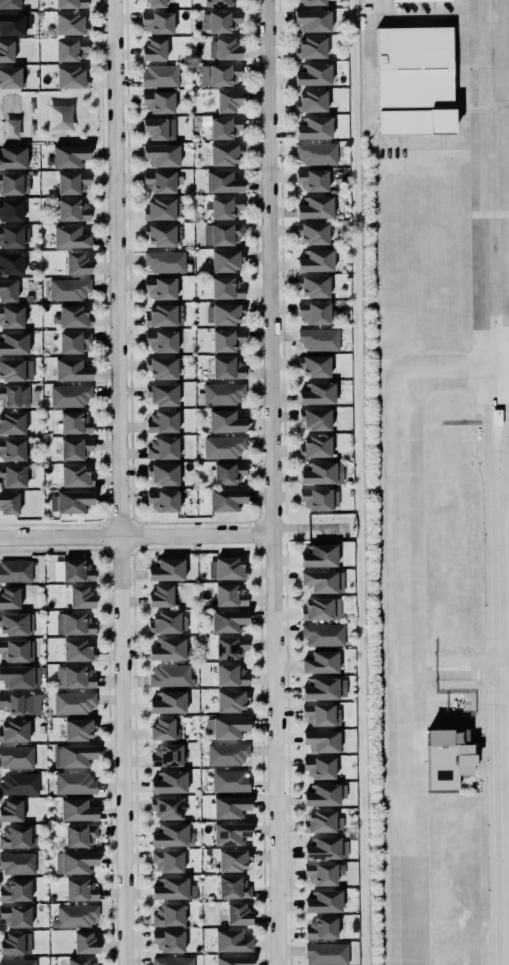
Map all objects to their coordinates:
building: (407, 0)
building: (313, 2)
building: (71, 3)
building: (154, 3)
building: (216, 3)
building: (10, 4)
building: (364, 9)
building: (312, 20)
building: (219, 21)
building: (158, 22)
building: (14, 23)
building: (70, 24)
building: (310, 47)
building: (223, 48)
building: (70, 49)
building: (154, 49)
building: (6, 50)
building: (219, 74)
building: (314, 74)
building: (160, 75)
building: (10, 77)
building: (71, 77)
building: (410, 79)
building: (228, 100)
building: (158, 101)
building: (311, 101)
road: (101, 102)
airport taxiway: (500, 103)
road: (500, 103)
park: (52, 115)
road: (1, 118)
road: (86, 119)
building: (224, 127)
building: (314, 127)
building: (159, 128)
road: (101, 133)
building: (224, 153)
building: (316, 153)
building: (162, 154)
building: (69, 155)
building: (13, 157)
building: (312, 180)
building: (159, 181)
building: (222, 181)
building: (72, 182)
building: (14, 183)
airport taxiway: (492, 201)
road: (492, 201)
building: (225, 206)
building: (315, 207)
building: (72, 209)
building: (159, 209)
building: (10, 210)
building: (313, 233)
building: (221, 234)
building: (160, 235)
building: (11, 236)
building: (70, 236)
building: (226, 260)
building: (315, 260)
building: (165, 261)
building: (11, 262)
building: (76, 263)
building: (313, 286)
building: (161, 287)
building: (226, 287)
building: (68, 288)
building: (8, 290)
building: (224, 313)
building: (316, 313)
building: (164, 315)
building: (11, 316)
building: (74, 316)
airport taxiway: (501, 319)
road: (501, 319)
building: (319, 338)
building: (227, 340)
building: (161, 341)
building: (74, 342)
building: (14, 343)
building: (314, 366)
building: (161, 367)
building: (227, 367)
building: (16, 369)
building: (71, 369)
building: (221, 393)
building: (317, 393)
building: (163, 394)
building: (14, 395)
building: (70, 395)
road: (495, 407)
building: (315, 419)
building: (162, 421)
building: (225, 421)
building: (74, 422)
building: (12, 423)
building: (223, 446)
building: (315, 446)
building: (162, 447)
building: (75, 448)
building: (12, 449)
building: (228, 472)
building: (163, 473)
building: (322, 473)
building: (76, 475)
building: (12, 476)
airport: (435, 476)
road: (119, 482)
road: (271, 482)
building: (319, 498)
building: (225, 499)
building: (163, 500)
building: (69, 501)
building: (9, 502)
road: (135, 537)
road: (497, 538)
building: (319, 555)
building: (226, 567)
building: (166, 569)
building: (15, 570)
building: (76, 570)
building: (323, 581)
building: (229, 595)
building: (81, 596)
building: (160, 596)
building: (9, 597)
building: (321, 608)
building: (227, 620)
building: (167, 622)
building: (74, 623)
building: (16, 624)
airport taxiway: (404, 624)
road: (404, 624)
building: (323, 634)
building: (230, 647)
building: (78, 649)
building: (169, 649)
building: (16, 650)
building: (321, 662)
road: (504, 664)
building: (231, 674)
building: (171, 675)
building: (20, 676)
building: (74, 676)
building: (325, 688)
building: (231, 700)
building: (73, 702)
building: (168, 702)
building: (20, 703)
building: (322, 714)
building: (226, 726)
building: (78, 728)
building: (163, 729)
building: (14, 730)
building: (321, 740)
building: (227, 754)
building: (73, 755)
building: (166, 755)
building: (16, 757)
building: (441, 761)
building: (319, 767)
building: (230, 780)
building: (169, 782)
building: (19, 783)
building: (74, 783)
building: (324, 794)
building: (229, 806)
building: (167, 808)
building: (77, 809)
building: (11, 810)
road: (500, 814)
building: (322, 821)
building: (230, 833)
building: (79, 835)
building: (172, 835)
building: (17, 837)
building: (326, 848)
building: (233, 859)
building: (167, 860)
building: (75, 861)
building: (17, 863)
building: (322, 872)
building: (233, 887)
building: (173, 888)
building: (80, 889)
building: (14, 890)
building: (323, 901)
building: (168, 914)
building: (237, 914)
building: (15, 915)
building: (75, 915)
building: (321, 927)
building: (231, 940)
building: (168, 941)
building: (85, 942)
building: (16, 943)
building: (326, 953)
building: (173, 960)
building: (233, 960)
building: (18, 961)

